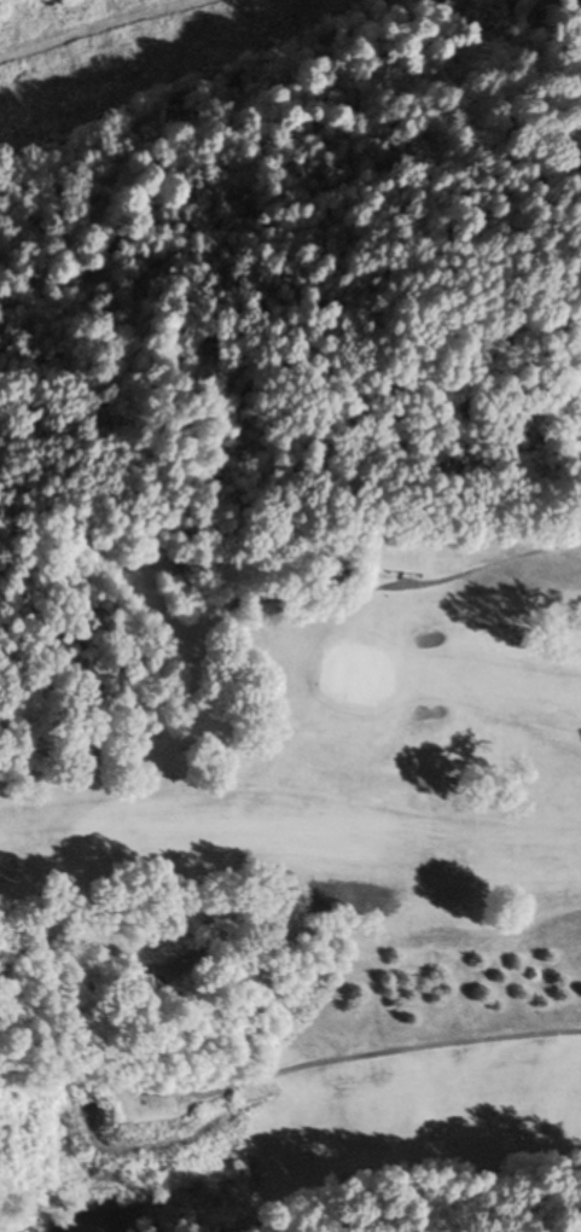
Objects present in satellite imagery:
road: (469, 571)
park: (296, 867)
road: (289, 1070)

